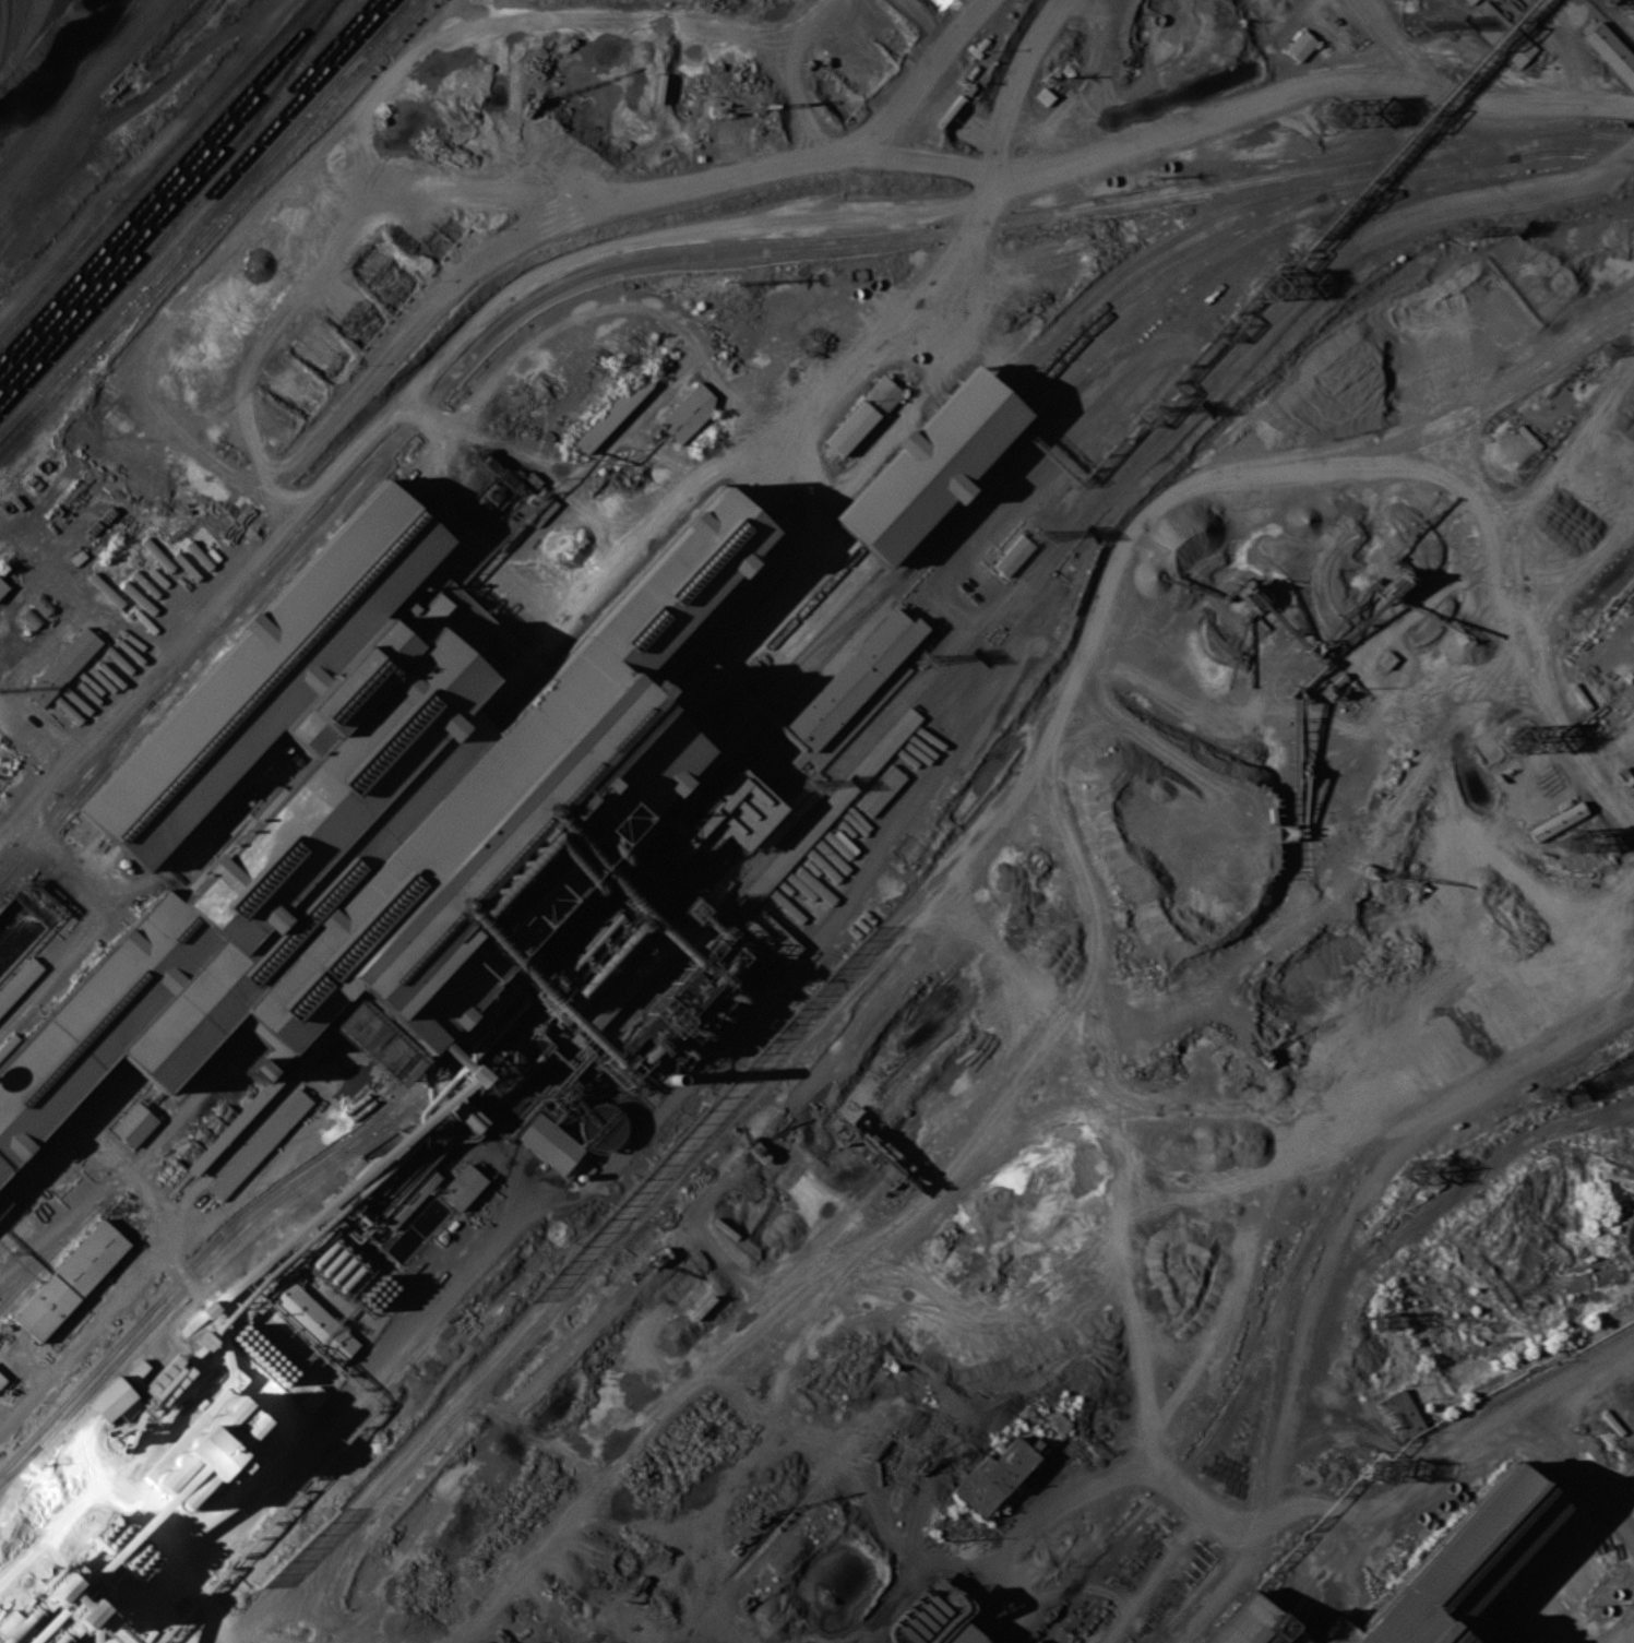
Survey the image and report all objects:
building: (1469, 1)
building: (1500, 33)
railway: (371, 35)
building: (1301, 45)
building: (1611, 51)
railway: (282, 80)
building: (1043, 95)
road: (1475, 98)
railway: (1410, 153)
railway: (155, 168)
railway: (163, 177)
railway: (169, 186)
railway: (1303, 192)
railway: (184, 201)
railway: (192, 209)
railway: (174, 221)
railway: (986, 225)
railway: (146, 227)
railway: (210, 227)
railway: (169, 253)
railway: (1178, 254)
railway: (1156, 279)
road: (1265, 324)
railway: (1014, 380)
building: (883, 392)
building: (688, 412)
building: (612, 414)
building: (850, 427)
building: (929, 466)
railway: (931, 468)
railway: (940, 476)
railway: (947, 483)
railway: (351, 484)
road: (1368, 526)
building: (387, 544)
building: (157, 555)
building: (1012, 556)
building: (2, 587)
building: (439, 602)
railway: (806, 603)
railway: (813, 611)
building: (31, 618)
railway: (821, 618)
building: (62, 666)
building: (855, 676)
road: (1422, 738)
railway: (725, 767)
road: (1441, 777)
building: (880, 790)
railway: (80, 793)
building: (740, 807)
building: (827, 812)
building: (704, 820)
building: (1559, 820)
road: (1597, 895)
building: (772, 936)
building: (19, 981)
railway: (463, 1031)
building: (369, 1039)
building: (259, 1069)
building: (32, 1071)
building: (259, 1098)
road: (1435, 1122)
building: (134, 1124)
building: (259, 1144)
building: (550, 1145)
building: (206, 1154)
railway: (128, 1169)
road: (1469, 1176)
building: (465, 1188)
railway: (79, 1207)
railway: (624, 1236)
railway: (1288, 1279)
building: (71, 1281)
railway: (764, 1311)
building: (314, 1321)
road: (96, 1329)
building: (2, 1380)
building: (110, 1398)
building: (1404, 1412)
railway: (1260, 1452)
building: (207, 1453)
railway: (20, 1464)
road: (1429, 1469)
road: (1268, 1472)
building: (993, 1476)
railway: (785, 1522)
building: (1478, 1547)
railway: (1086, 1573)
building: (56, 1587)
building: (1253, 1624)
building: (1399, 1624)
railway: (1158, 1629)
building: (963, 1634)
building: (1036, 1641)
building: (1501, 1642)

